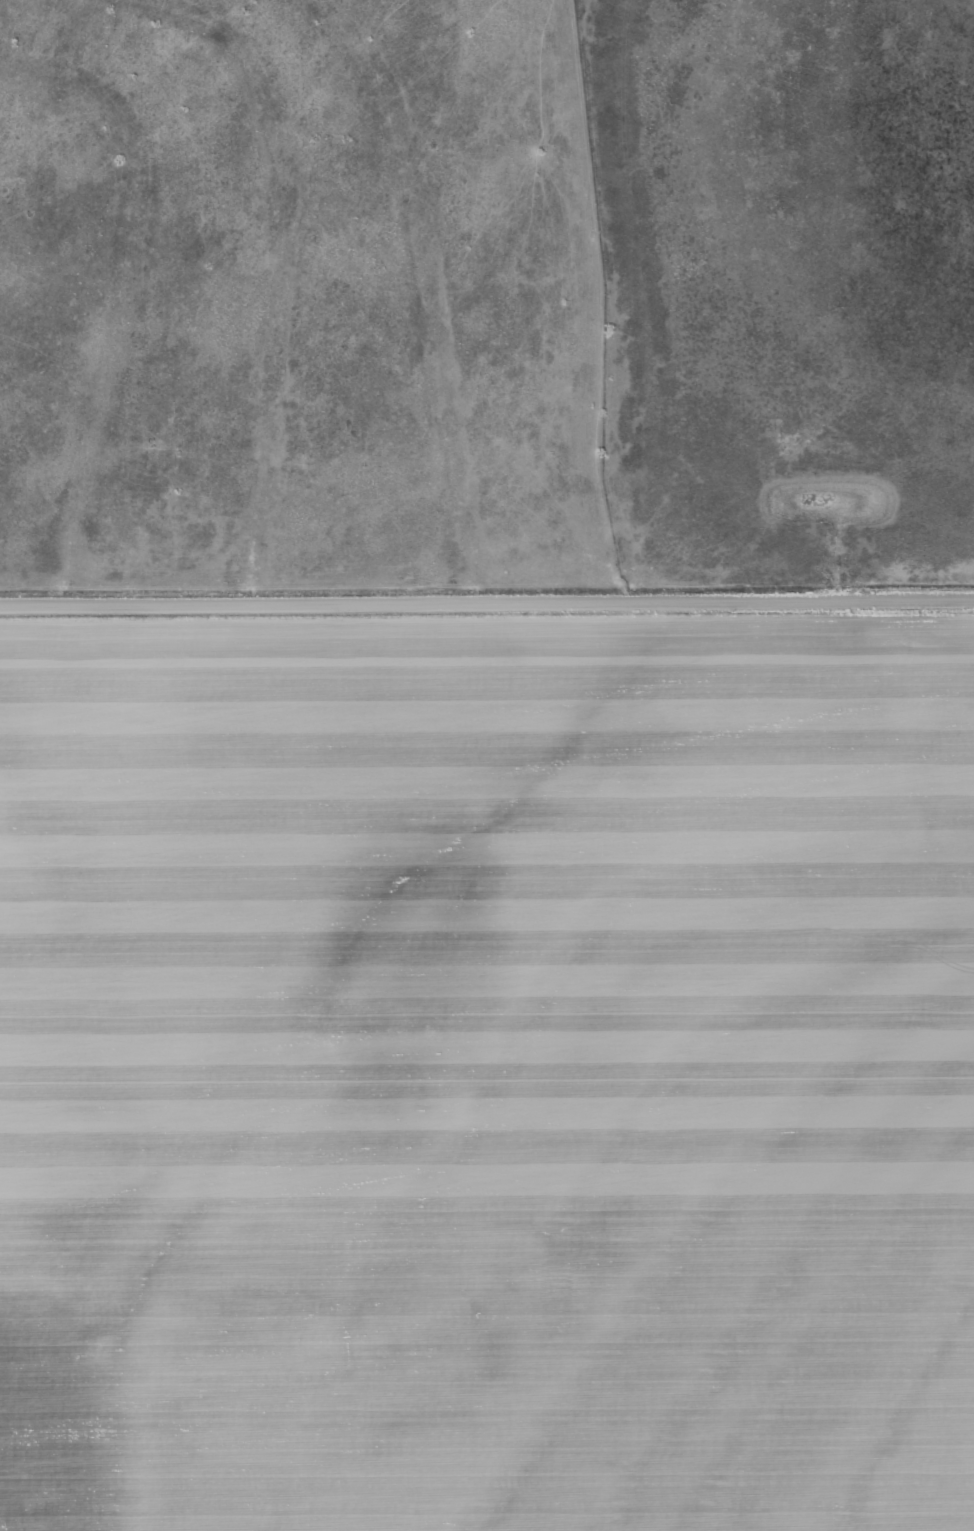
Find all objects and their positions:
road: (486, 601)

